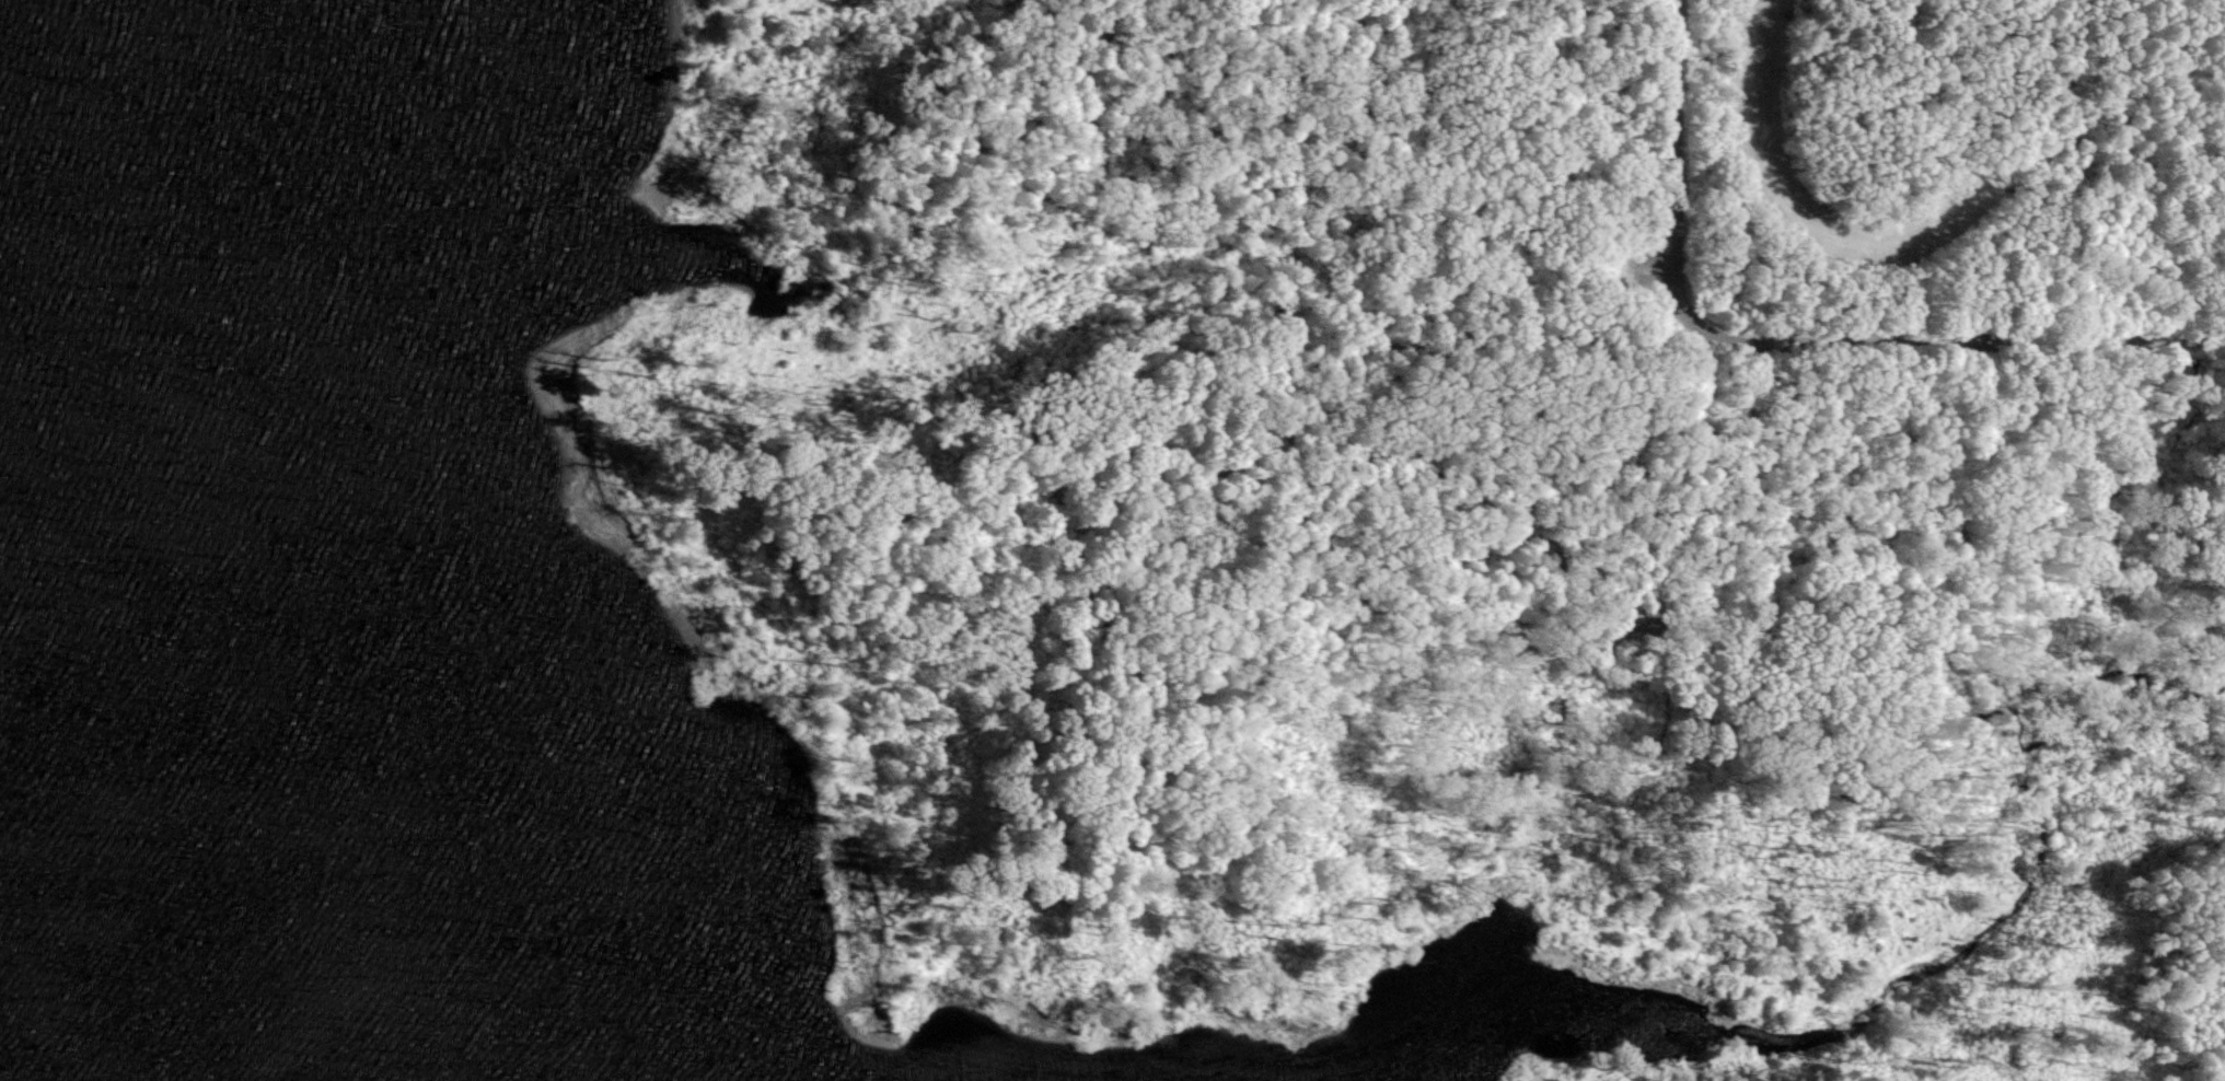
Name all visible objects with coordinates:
road: (1670, 162)
parking lot: (1650, 271)
road: (1948, 346)
river: (254, 710)

